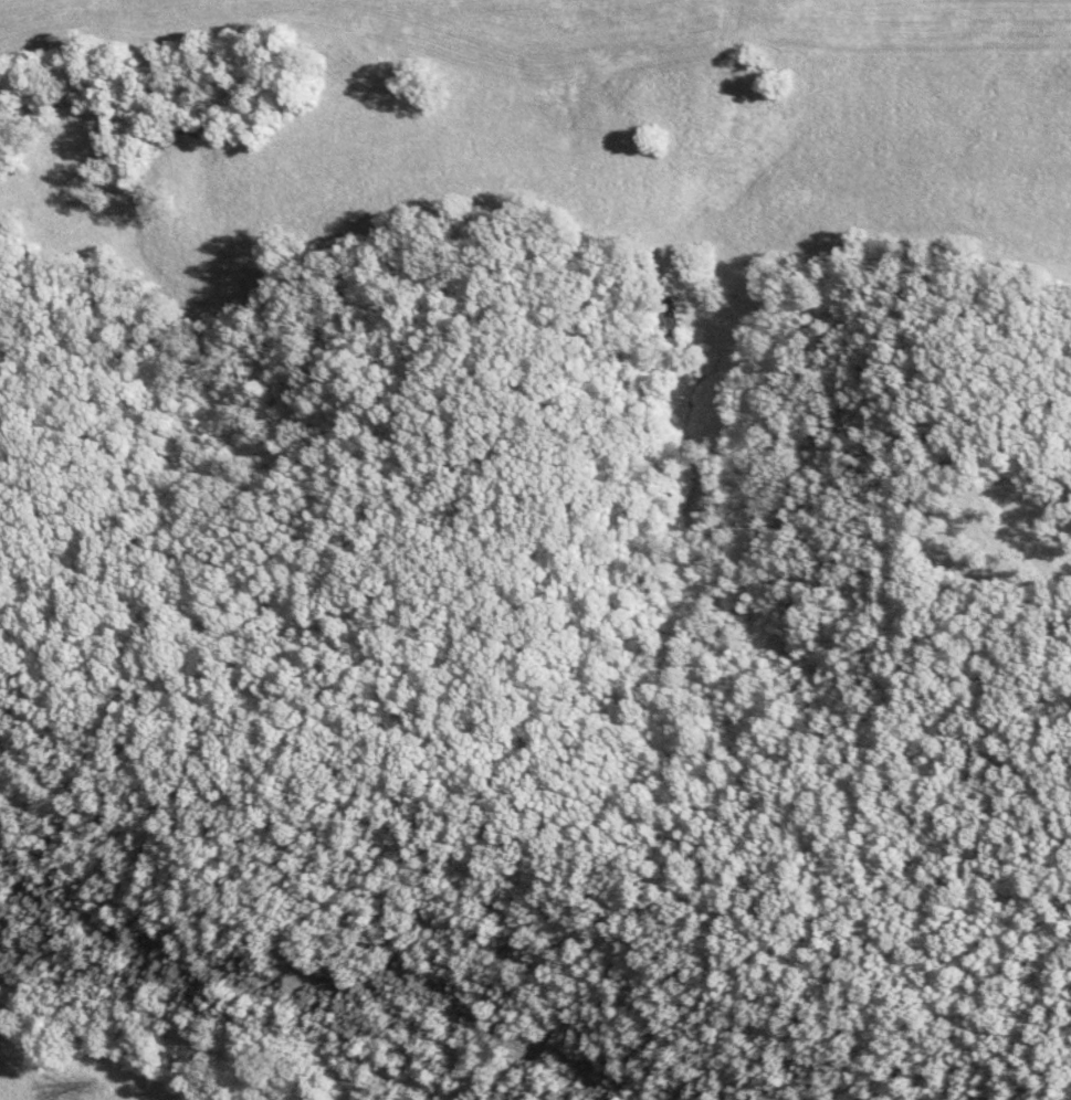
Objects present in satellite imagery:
road: (218, 1049)

